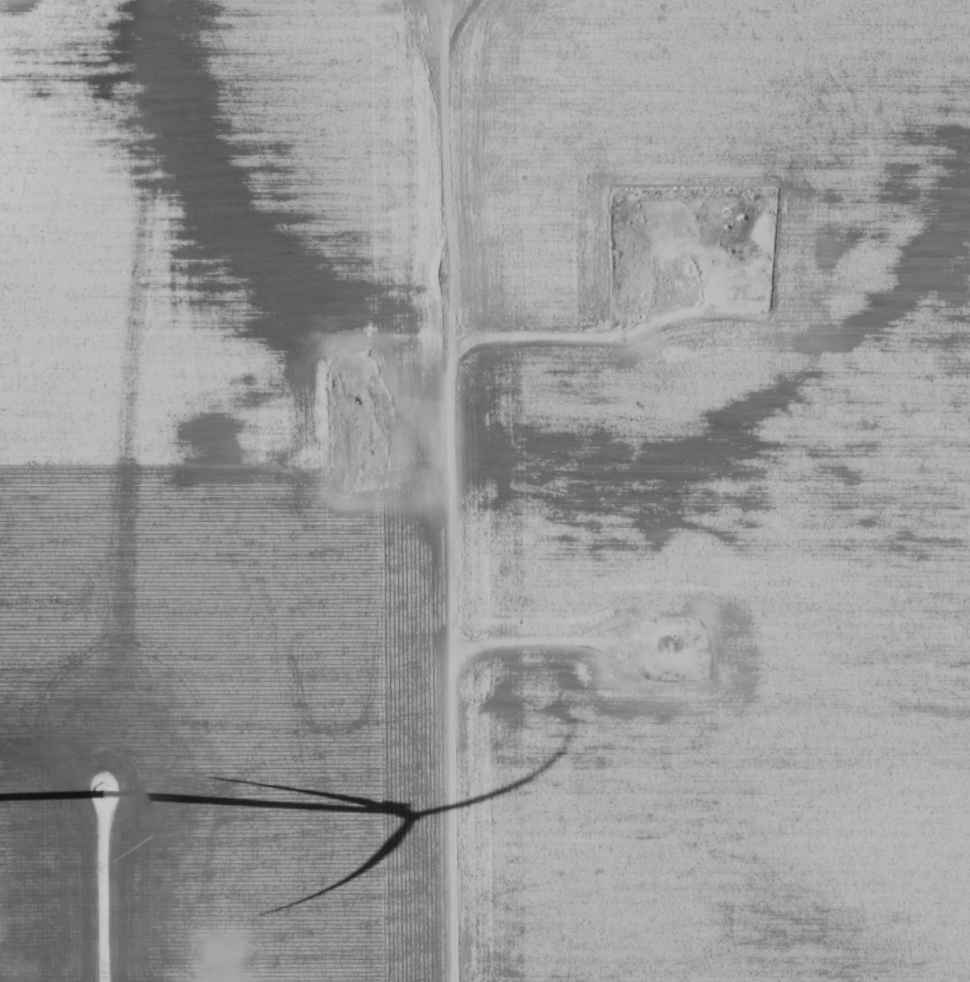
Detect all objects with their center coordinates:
wind turbine: (110, 796)

